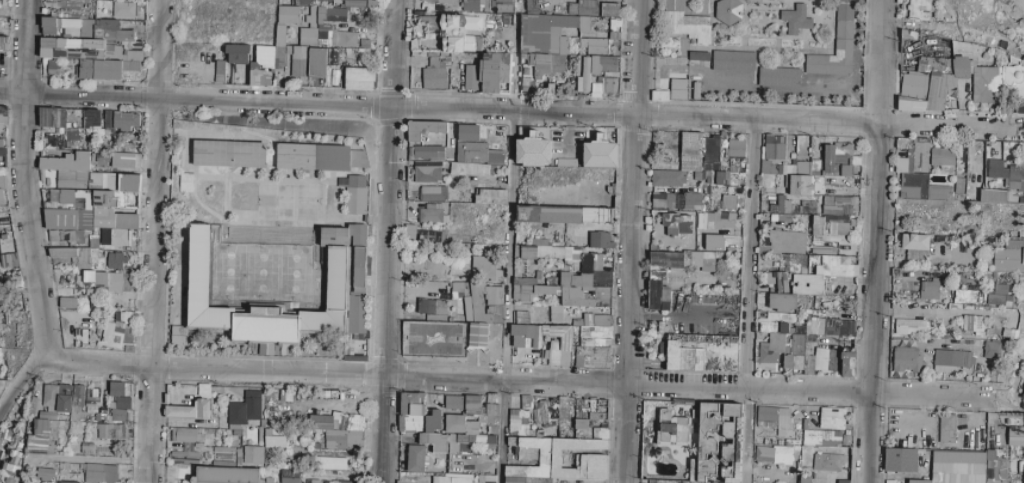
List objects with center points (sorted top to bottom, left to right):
building: (312, 2)
building: (444, 2)
building: (359, 3)
building: (470, 5)
building: (502, 5)
building: (530, 5)
building: (582, 6)
building: (122, 9)
building: (609, 9)
building: (918, 10)
building: (728, 11)
building: (795, 18)
building: (685, 22)
building: (326, 27)
building: (614, 31)
building: (459, 32)
building: (3, 43)
building: (544, 44)
building: (836, 45)
building: (90, 46)
building: (277, 51)
building: (237, 53)
building: (698, 56)
building: (732, 60)
building: (319, 62)
building: (219, 71)
building: (435, 72)
building: (487, 73)
building: (582, 74)
building: (603, 75)
building: (778, 76)
building: (359, 78)
building: (954, 82)
building: (677, 88)
building: (659, 95)
building: (1020, 109)
building: (3, 115)
building: (61, 117)
building: (106, 118)
building: (125, 120)
building: (92, 121)
building: (423, 129)
building: (70, 137)
building: (53, 140)
building: (473, 146)
building: (735, 147)
building: (534, 148)
building: (2, 152)
building: (427, 152)
building: (599, 153)
building: (229, 154)
building: (912, 155)
building: (320, 157)
building: (834, 157)
building: (779, 158)
building: (942, 159)
building: (124, 160)
building: (689, 160)
building: (67, 169)
building: (994, 169)
building: (468, 170)
building: (426, 173)
building: (2, 177)
building: (721, 178)
building: (1016, 179)
road: (21, 180)
building: (185, 183)
building: (800, 185)
building: (920, 188)
building: (432, 193)
building: (355, 195)
building: (490, 196)
building: (999, 196)
building: (1, 199)
building: (662, 199)
building: (690, 201)
building: (727, 201)
building: (779, 205)
building: (837, 205)
building: (430, 213)
building: (564, 215)
building: (715, 220)
building: (677, 224)
building: (836, 224)
building: (817, 225)
building: (409, 232)
building: (57, 235)
building: (428, 235)
building: (598, 239)
road: (153, 241)
road: (386, 241)
road: (630, 241)
building: (786, 241)
building: (915, 245)
building: (822, 250)
building: (6, 251)
building: (547, 251)
building: (1009, 256)
building: (115, 260)
building: (587, 261)
building: (791, 263)
building: (830, 265)
building: (94, 268)
building: (483, 268)
building: (656, 275)
building: (601, 277)
building: (777, 279)
building: (807, 284)
building: (457, 287)
building: (999, 288)
building: (928, 289)
building: (338, 290)
building: (531, 290)
building: (581, 291)
building: (493, 295)
building: (970, 296)
building: (999, 300)
building: (67, 302)
building: (781, 302)
building: (432, 308)
building: (555, 311)
building: (479, 315)
building: (972, 324)
building: (831, 326)
building: (910, 326)
building: (1010, 327)
building: (117, 330)
building: (177, 335)
building: (440, 338)
building: (593, 342)
building: (525, 343)
building: (796, 344)
building: (770, 349)
building: (992, 349)
building: (702, 353)
building: (616, 357)
building: (905, 359)
building: (951, 361)
building: (791, 363)
building: (847, 364)
building: (118, 388)
building: (203, 394)
building: (1023, 395)
building: (92, 397)
building: (122, 402)
building: (452, 402)
building: (473, 404)
building: (245, 408)
building: (491, 410)
building: (411, 411)
building: (857, 413)
building: (47, 415)
building: (117, 415)
building: (773, 417)
building: (831, 418)
building: (433, 420)
building: (580, 425)
building: (672, 428)
building: (946, 428)
building: (339, 429)
building: (110, 431)
building: (461, 433)
building: (185, 434)
building: (40, 436)
building: (1015, 436)
building: (821, 437)
building: (434, 441)
building: (273, 442)
building: (717, 443)
building: (1, 444)
building: (187, 446)
building: (86, 447)
building: (252, 454)
building: (772, 454)
building: (183, 457)
building: (415, 458)
building: (559, 458)
building: (900, 459)
building: (827, 462)
building: (329, 463)
building: (994, 466)
building: (956, 467)
building: (47, 473)
building: (100, 473)
building: (225, 475)
building: (289, 476)
building: (1023, 476)
building: (450, 478)
building: (487, 479)
building: (11, 480)
building: (313, 481)
building: (890, 481)
building: (68, 482)
building: (340, 482)

